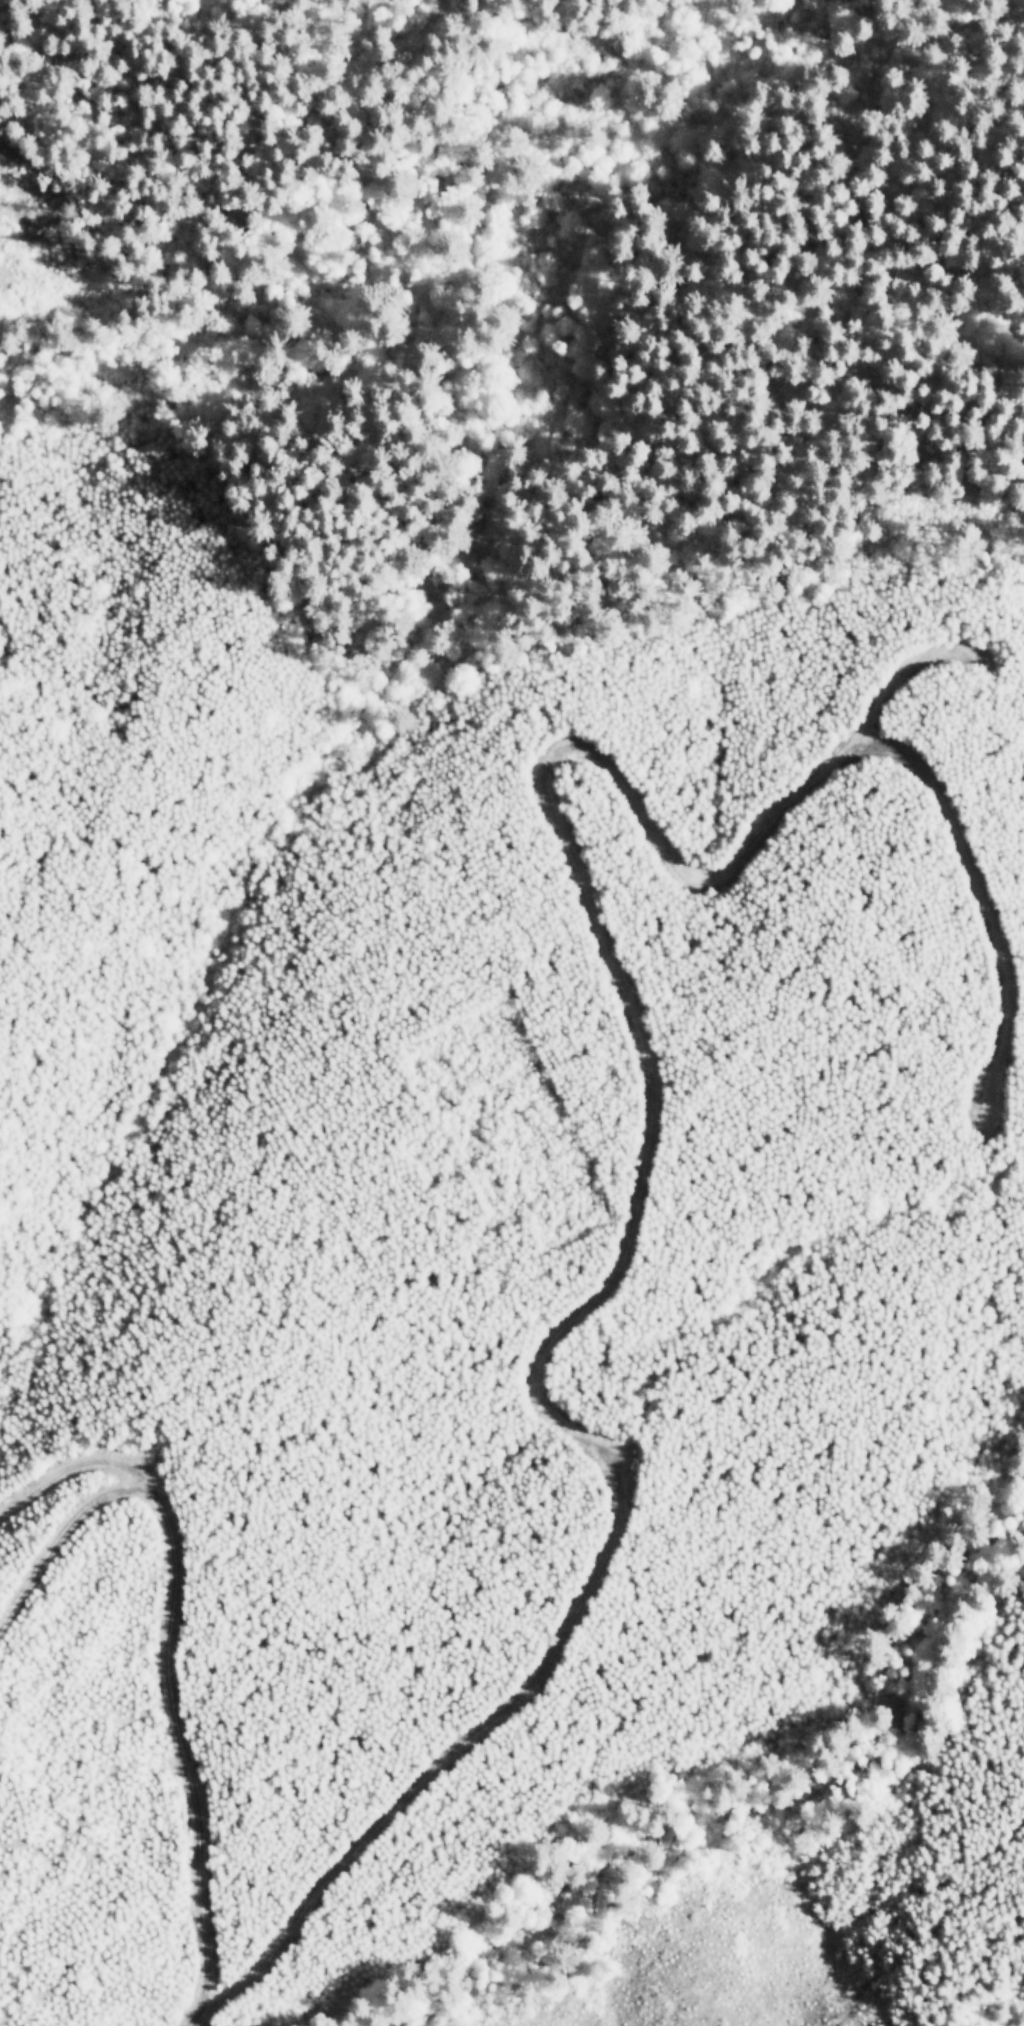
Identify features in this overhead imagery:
road: (867, 66)
road: (362, 70)
road: (990, 511)
road: (906, 670)
road: (643, 1055)
road: (70, 1465)
road: (165, 1651)

